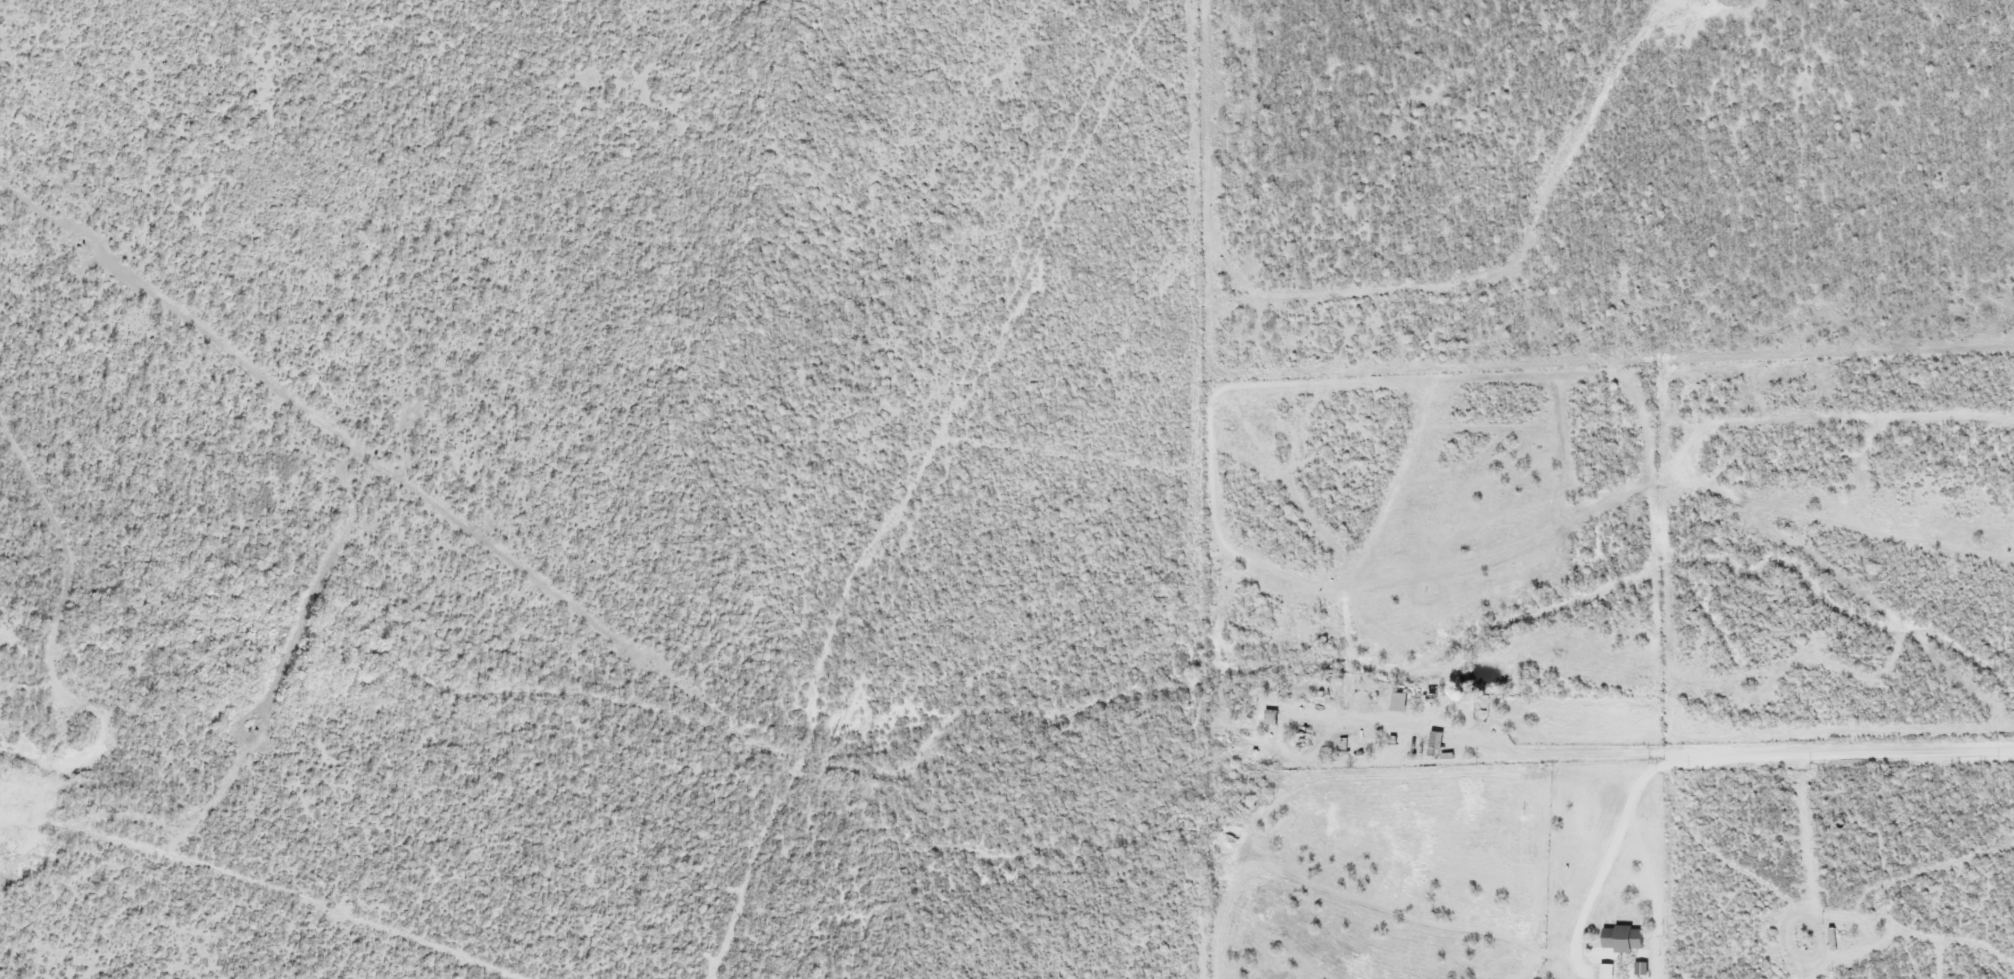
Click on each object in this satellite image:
road: (1842, 749)
building: (1623, 939)

